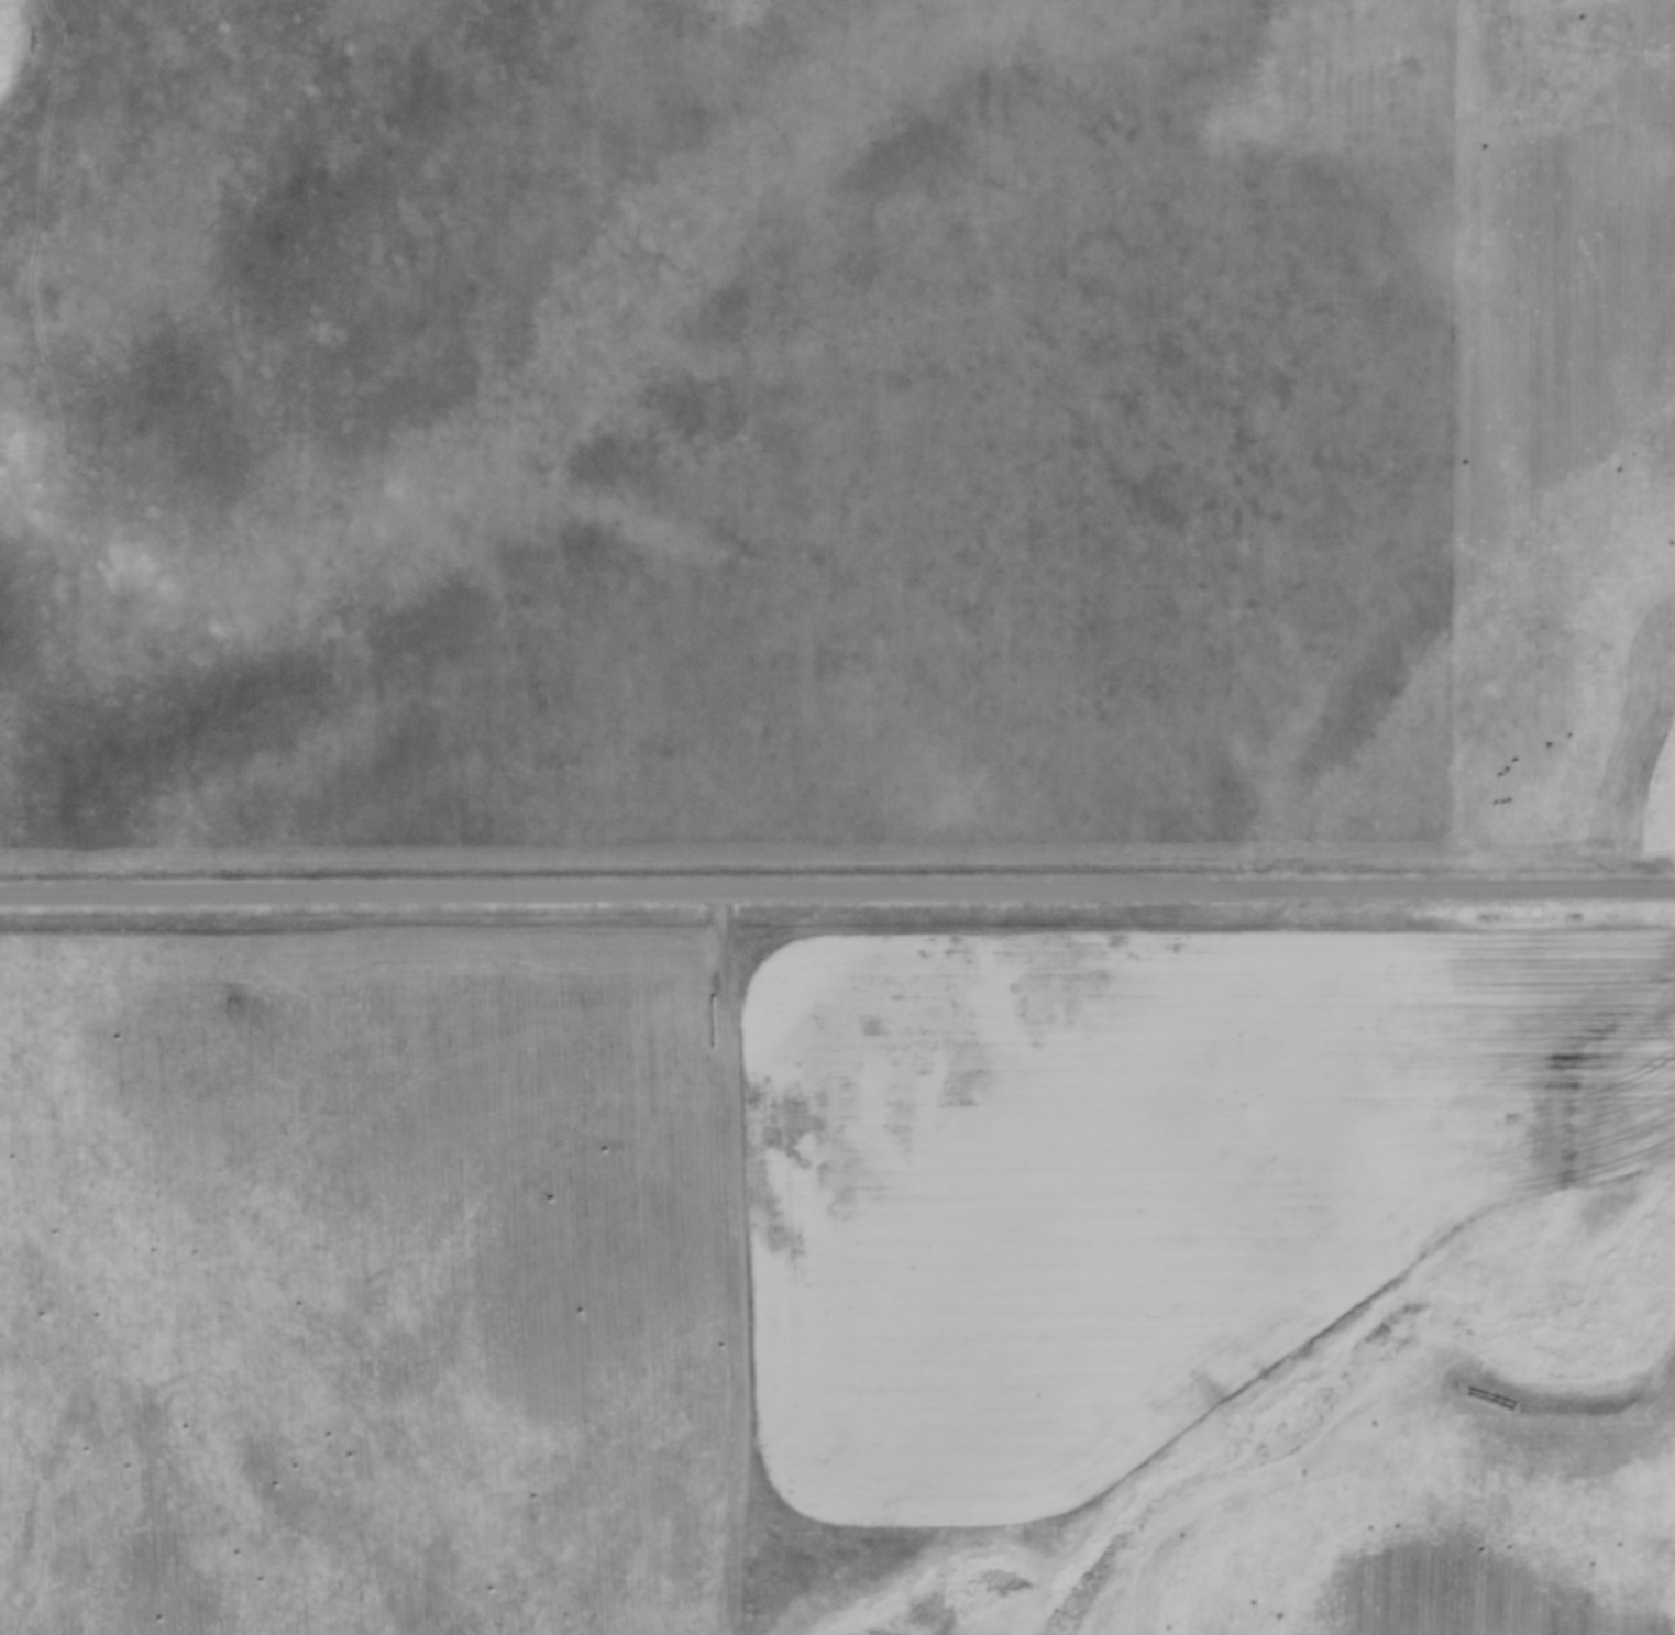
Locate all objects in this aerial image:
road: (837, 890)
road: (734, 1262)

